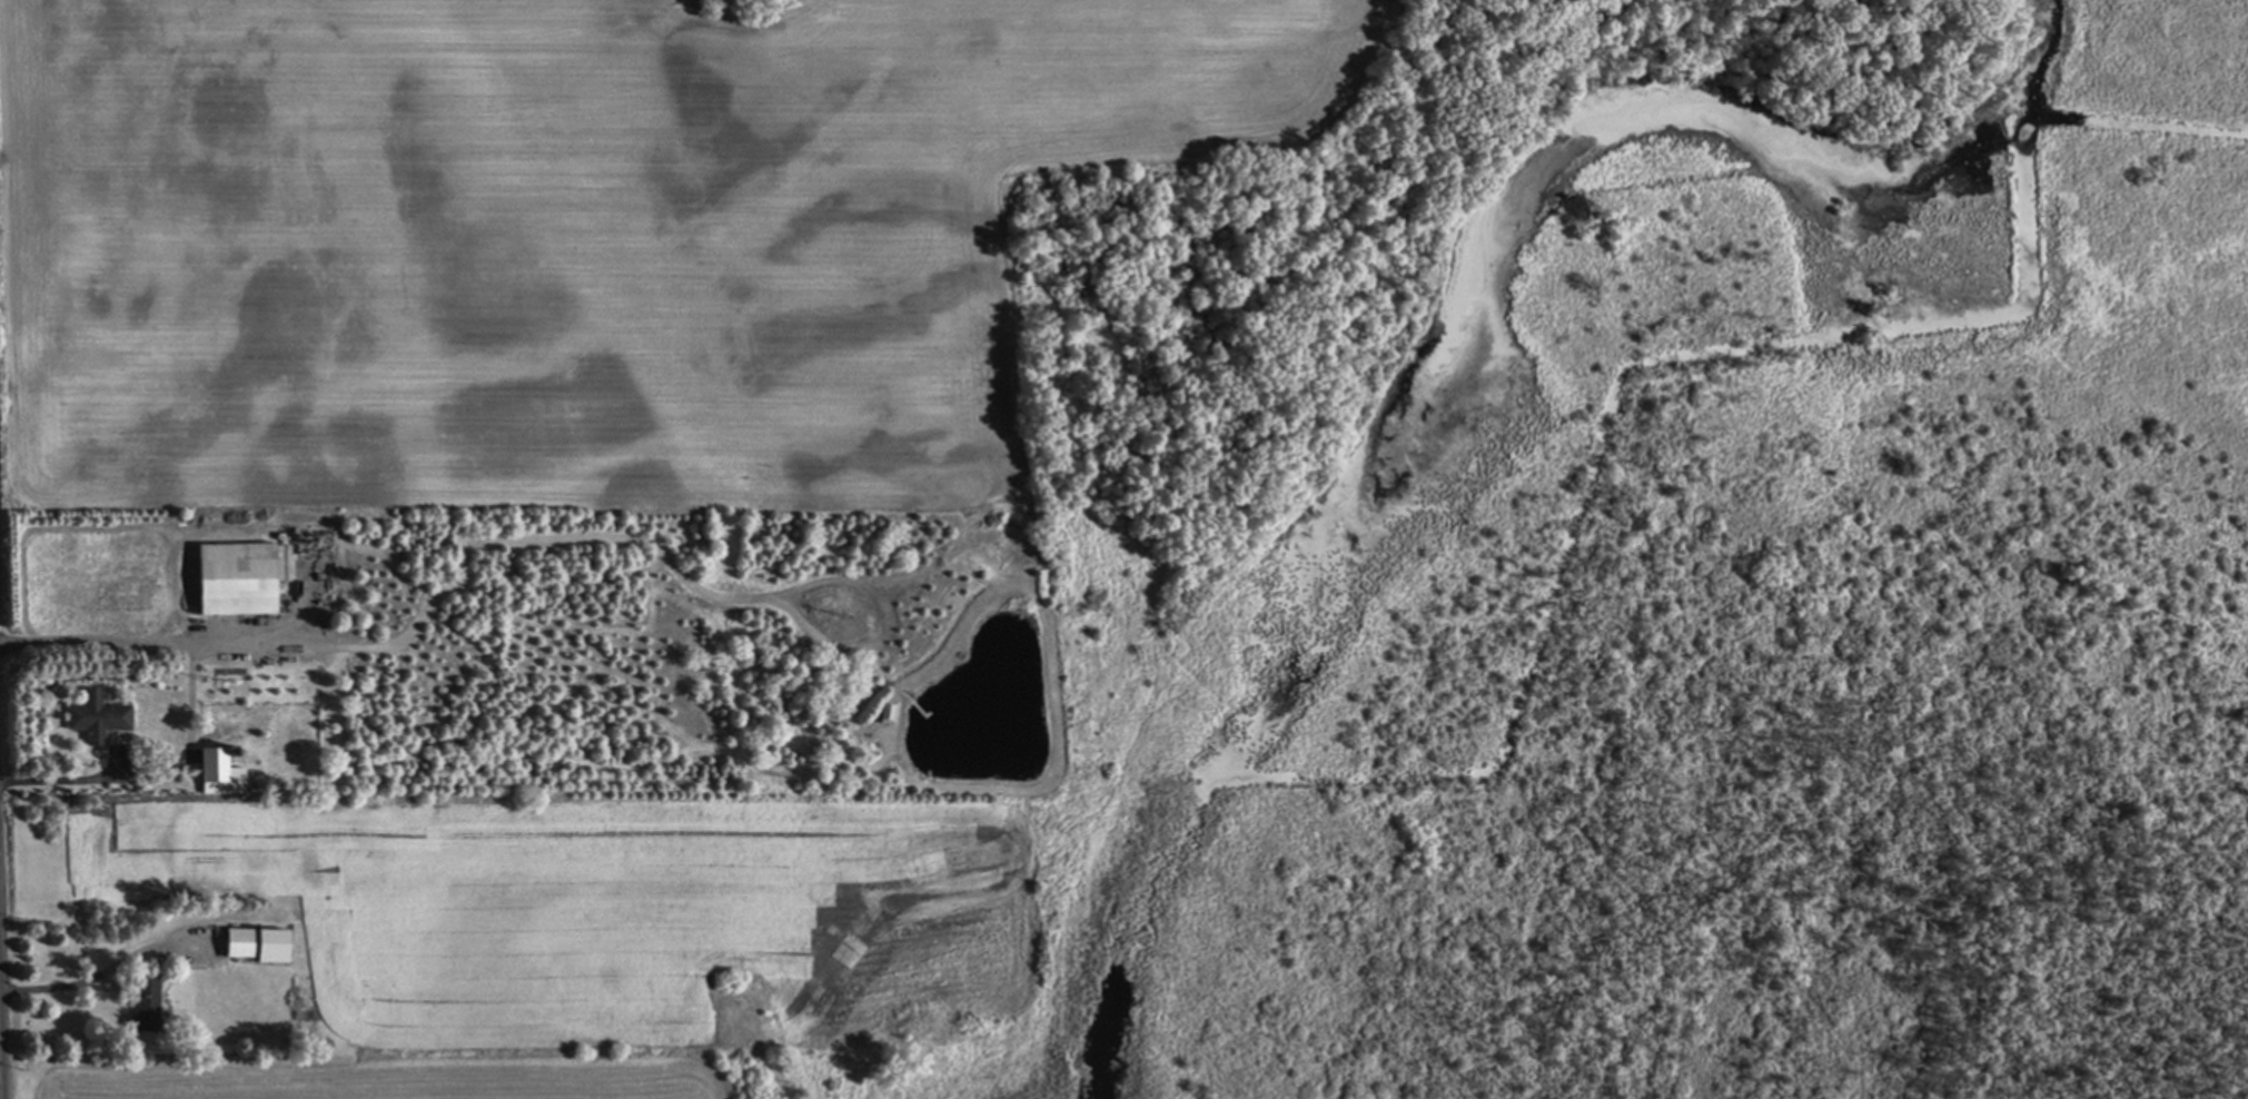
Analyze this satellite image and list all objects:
building: (248, 578)
road: (156, 642)
building: (106, 717)
building: (229, 768)
road: (154, 775)
building: (251, 943)
road: (106, 970)
building: (155, 999)
road: (1, 1029)

